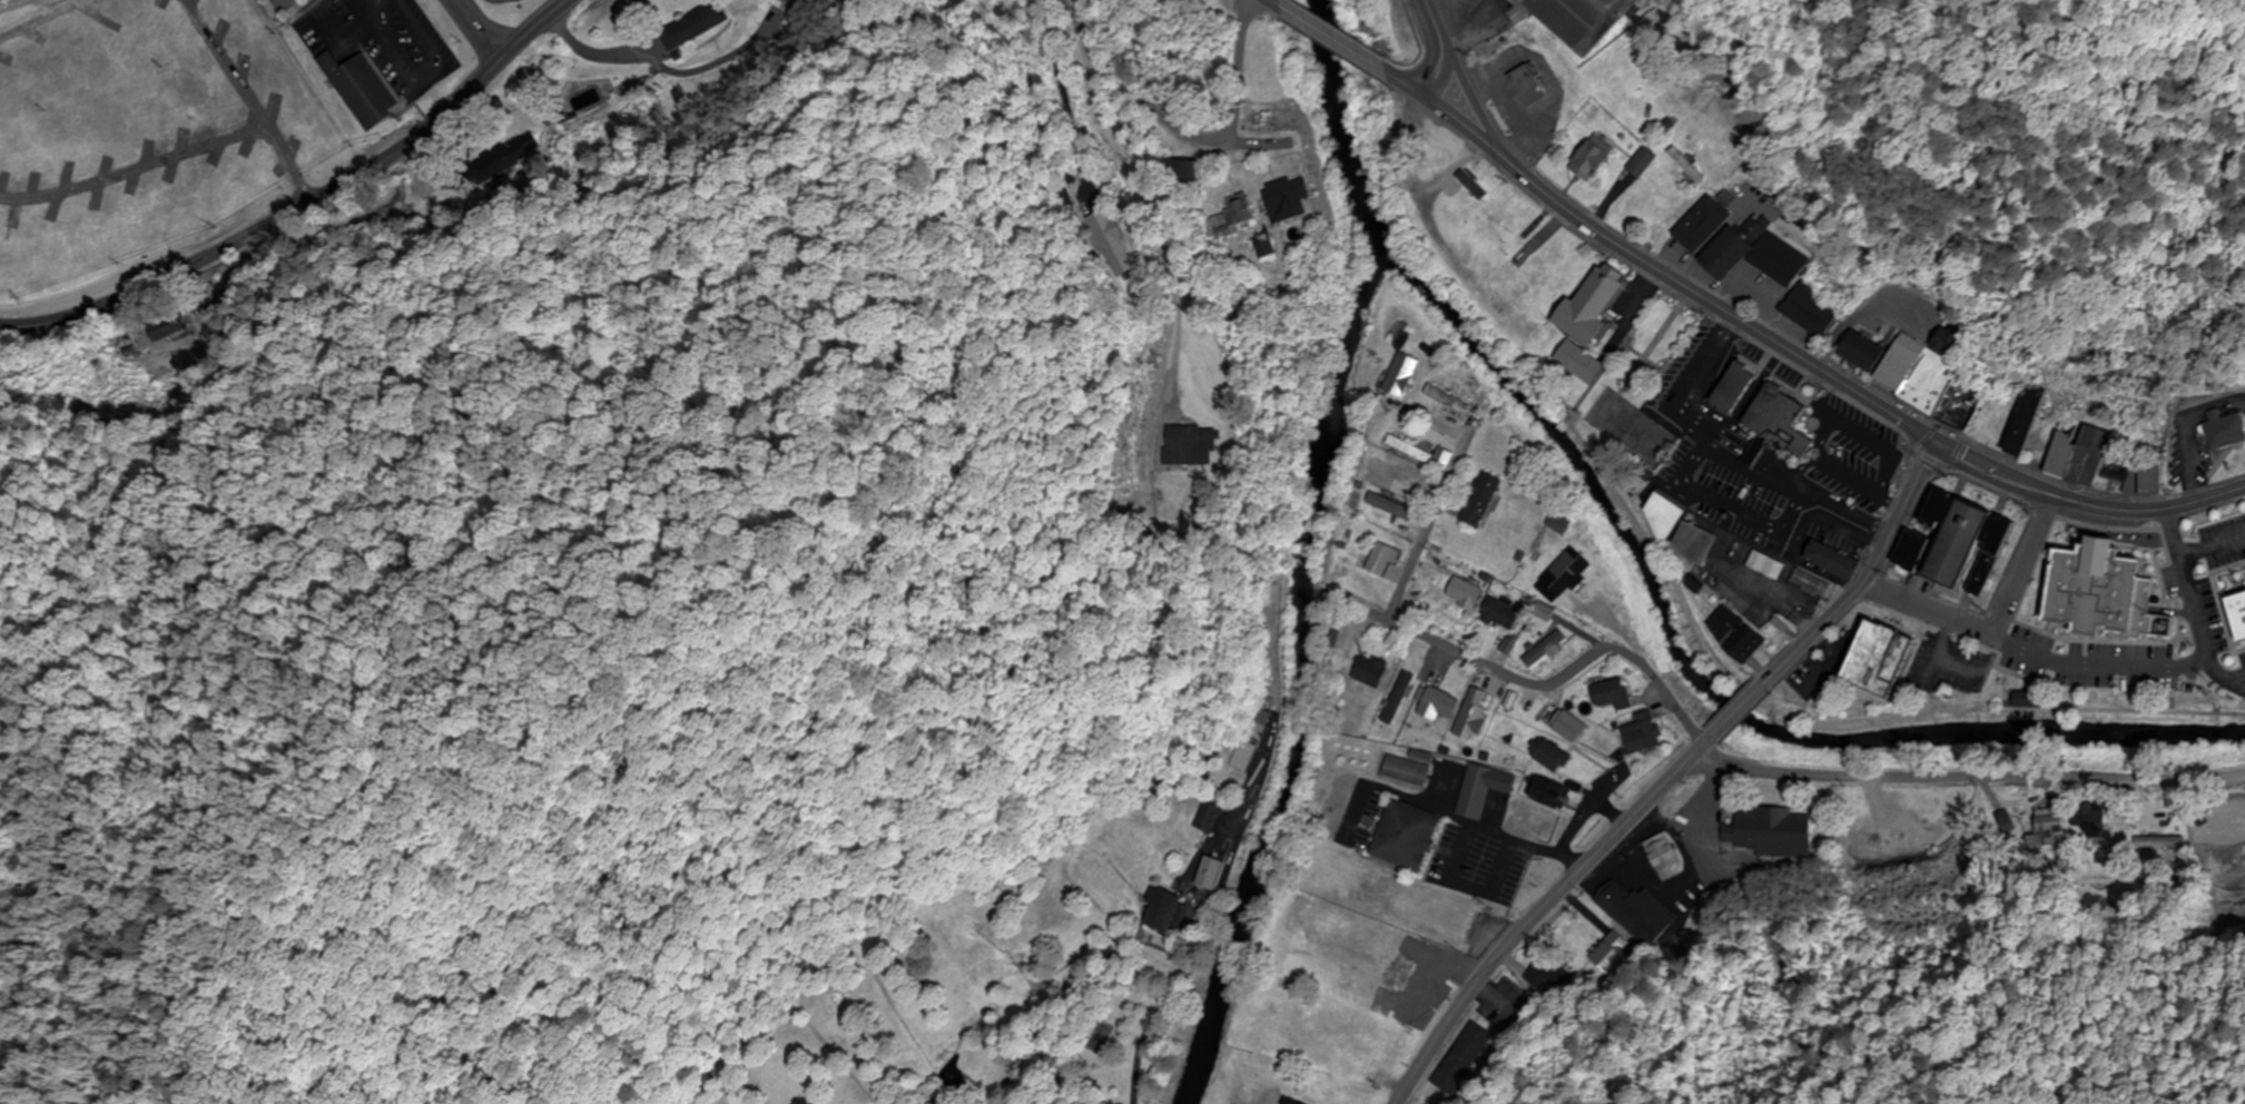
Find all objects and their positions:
building: (795, 2)
road: (1279, 3)
parking lot: (295, 4)
road: (349, 14)
road: (43, 19)
building: (1581, 20)
building: (695, 26)
road: (1337, 39)
building: (121, 48)
road: (1442, 48)
road: (228, 62)
road: (1408, 85)
building: (1530, 86)
building: (363, 87)
road: (1182, 131)
river: (1348, 132)
building: (1594, 161)
road: (289, 162)
building: (1643, 162)
building: (495, 164)
road: (136, 170)
building: (1185, 174)
building: (1476, 186)
building: (1289, 199)
road: (306, 200)
building: (1240, 214)
building: (1704, 225)
building: (1503, 230)
building: (1112, 243)
building: (1756, 253)
building: (1559, 269)
building: (1513, 280)
road: (1674, 280)
road: (1176, 289)
building: (1595, 306)
road: (1635, 309)
building: (1809, 309)
building: (1865, 352)
building: (1582, 362)
building: (1405, 375)
building: (1932, 376)
building: (1739, 387)
building: (1451, 401)
building: (1783, 421)
building: (2028, 423)
building: (2224, 430)
building: (1850, 444)
building: (1192, 446)
building: (1896, 452)
building: (1422, 453)
building: (2081, 456)
building: (1485, 501)
road: (2085, 504)
building: (1394, 507)
building: (1668, 515)
building: (1563, 524)
road: (2037, 539)
building: (1698, 544)
building: (1967, 544)
building: (1918, 552)
building: (2090, 553)
building: (1377, 560)
building: (1838, 560)
building: (1769, 565)
building: (1570, 573)
road: (1869, 576)
building: (1814, 584)
building: (1468, 594)
road: (2190, 595)
road: (1953, 611)
building: (2239, 613)
building: (1504, 615)
building: (2166, 627)
building: (1740, 634)
building: (1548, 650)
road: (1474, 658)
building: (1887, 659)
building: (1372, 671)
building: (1616, 694)
building: (2028, 701)
building: (1441, 706)
road: (1739, 711)
road: (1788, 714)
building: (1475, 716)
building: (1573, 727)
building: (1645, 735)
road: (1700, 750)
building: (1247, 757)
building: (1556, 758)
building: (1409, 771)
road: (1965, 780)
building: (1486, 790)
building: (1554, 805)
building: (1208, 818)
building: (2097, 819)
building: (2047, 828)
building: (1772, 834)
building: (1409, 838)
building: (2158, 847)
building: (1665, 857)
building: (1214, 875)
building: (1438, 909)
building: (1162, 911)
building: (1638, 915)
road: (1529, 923)
building: (1357, 931)
building: (1608, 957)
building: (1547, 977)
road: (1149, 1031)
building: (1466, 1061)
building: (1290, 1102)

